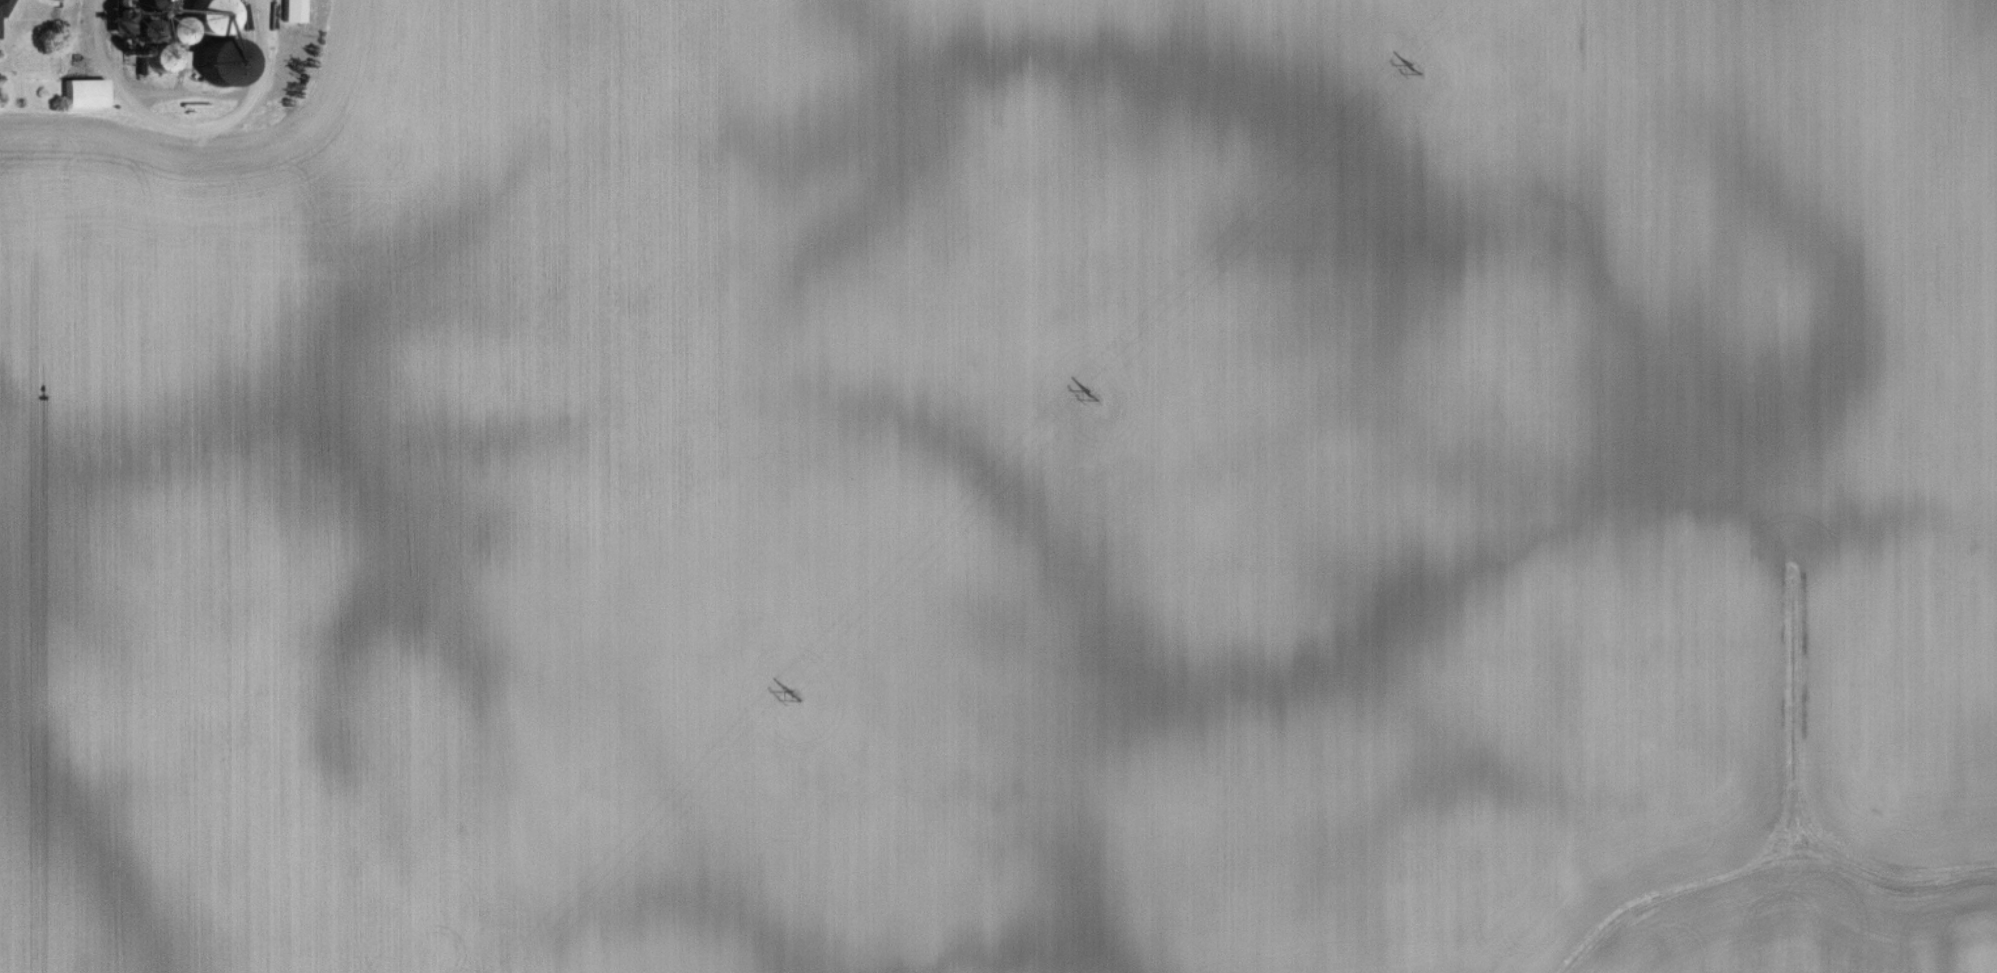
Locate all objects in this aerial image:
building: (293, 10)
power tower: (1417, 68)
building: (84, 92)
road: (186, 128)
power tower: (1096, 395)
power tower: (797, 699)

